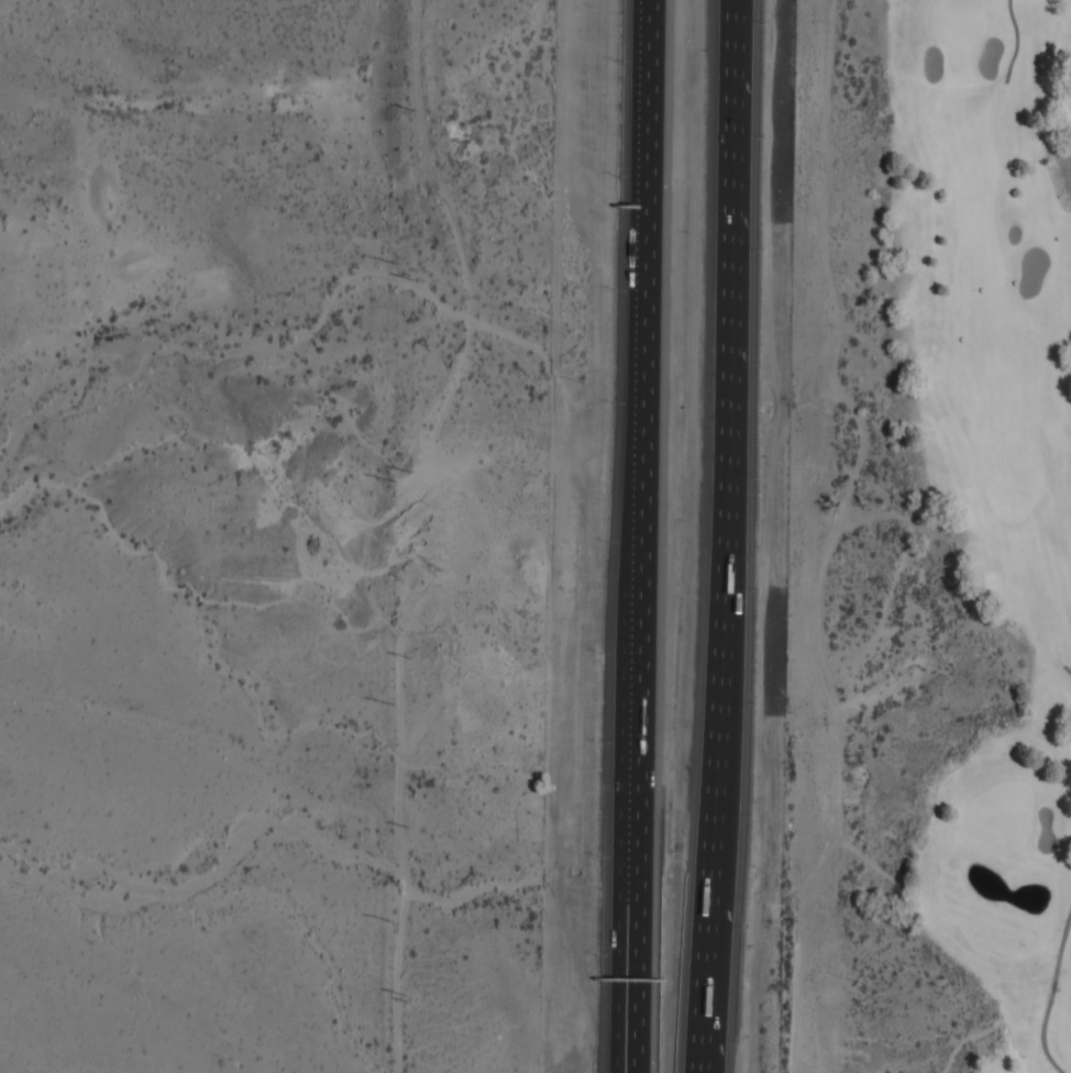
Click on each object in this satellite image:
road: (637, 536)
road: (724, 536)
park: (929, 541)
road: (1068, 670)
road: (1050, 995)

